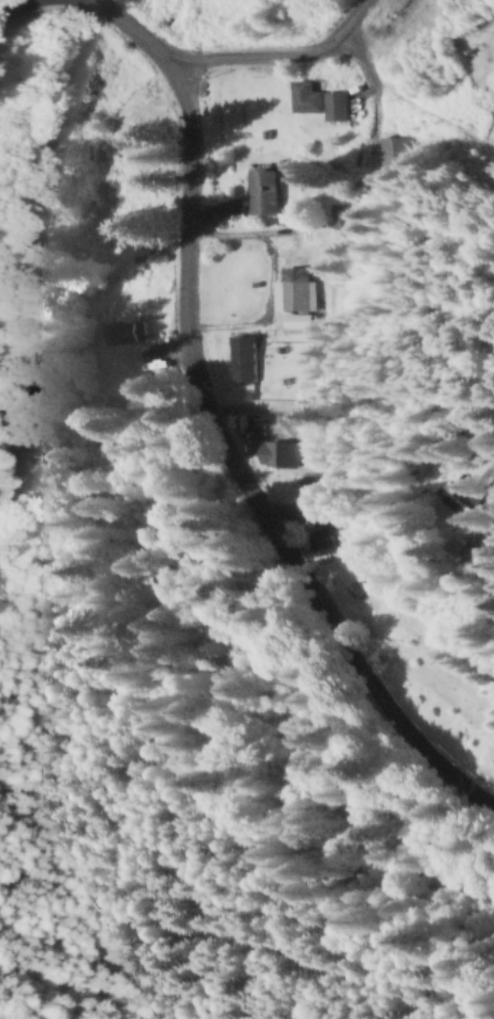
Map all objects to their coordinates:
road: (16, 14)
road: (284, 56)
building: (319, 103)
road: (361, 108)
building: (393, 157)
building: (268, 194)
building: (340, 218)
building: (293, 292)
building: (125, 335)
building: (244, 360)
road: (212, 430)
building: (278, 456)
building: (455, 502)
building: (313, 544)
road: (489, 546)

